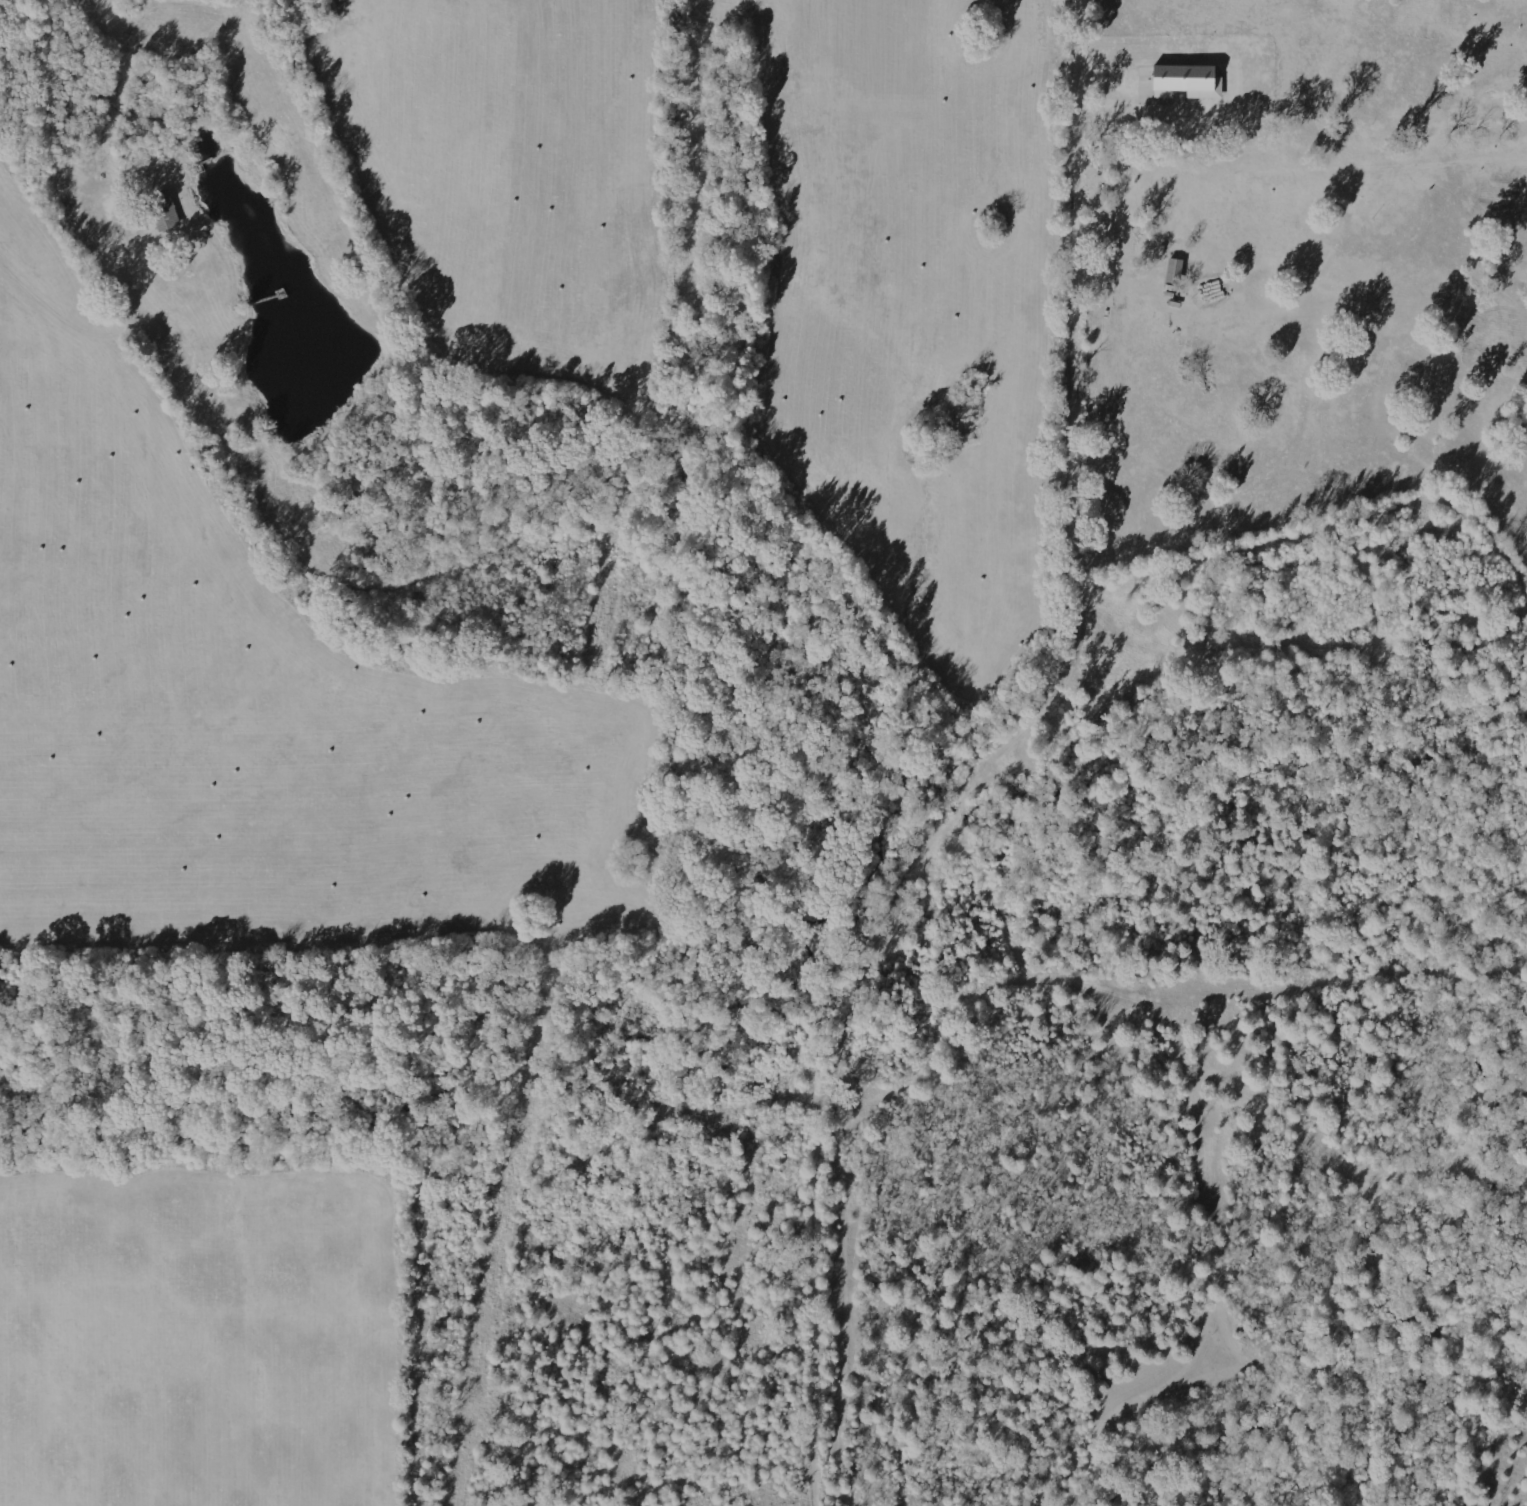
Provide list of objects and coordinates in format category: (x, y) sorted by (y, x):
building: (1193, 81)
building: (1179, 271)

